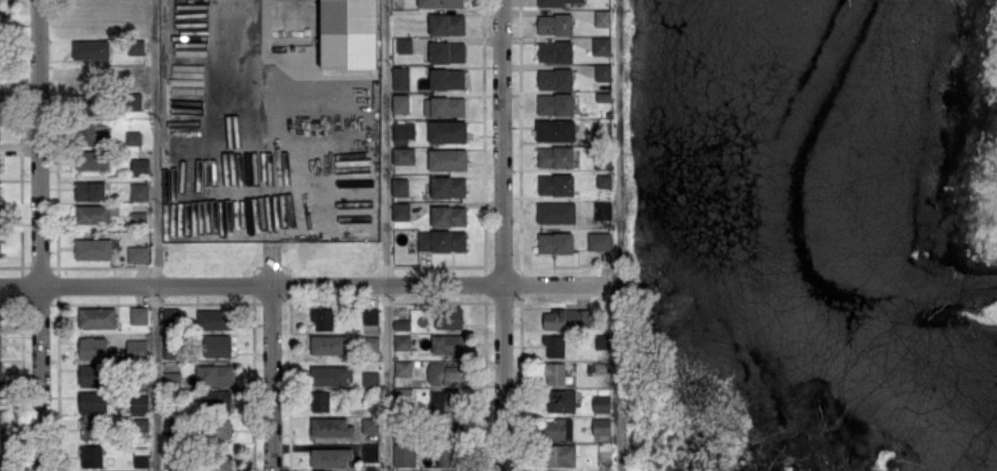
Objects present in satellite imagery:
building: (557, 2)
building: (441, 3)
building: (602, 18)
building: (447, 24)
building: (555, 24)
building: (349, 34)
building: (404, 45)
road: (259, 46)
building: (602, 46)
building: (135, 47)
building: (91, 49)
building: (555, 51)
building: (447, 52)
building: (603, 72)
building: (400, 78)
building: (447, 79)
building: (556, 79)
building: (133, 101)
building: (401, 103)
building: (556, 104)
building: (448, 106)
building: (556, 131)
building: (447, 132)
building: (402, 133)
building: (96, 135)
building: (133, 137)
road: (502, 141)
road: (39, 143)
building: (403, 155)
building: (556, 157)
building: (447, 160)
building: (92, 162)
building: (140, 165)
building: (604, 181)
building: (556, 185)
building: (399, 187)
building: (448, 187)
building: (90, 191)
building: (139, 191)
building: (603, 210)
building: (400, 211)
building: (556, 212)
building: (94, 214)
building: (448, 216)
building: (138, 217)
road: (155, 235)
road: (387, 235)
road: (623, 235)
building: (442, 240)
building: (599, 241)
building: (556, 243)
building: (93, 248)
building: (138, 254)
building: (0, 255)
road: (311, 284)
building: (139, 315)
building: (171, 315)
building: (370, 316)
building: (449, 317)
building: (97, 318)
building: (566, 318)
building: (0, 319)
building: (322, 319)
building: (213, 320)
building: (401, 325)
building: (402, 342)
building: (372, 343)
building: (447, 344)
building: (329, 345)
building: (0, 346)
building: (218, 346)
building: (555, 346)
building: (93, 348)
building: (136, 349)
building: (403, 368)
building: (0, 369)
building: (445, 373)
building: (555, 374)
building: (215, 375)
building: (91, 376)
building: (331, 376)
road: (503, 377)
road: (40, 378)
road: (273, 378)
building: (370, 378)
building: (405, 394)
building: (217, 400)
building: (444, 400)
building: (321, 401)
building: (561, 401)
building: (93, 402)
building: (140, 403)
building: (370, 425)
building: (601, 426)
building: (217, 427)
building: (331, 428)
building: (90, 429)
building: (557, 429)
building: (91, 456)
building: (561, 456)
building: (141, 457)
building: (331, 457)
building: (224, 461)
building: (606, 470)

